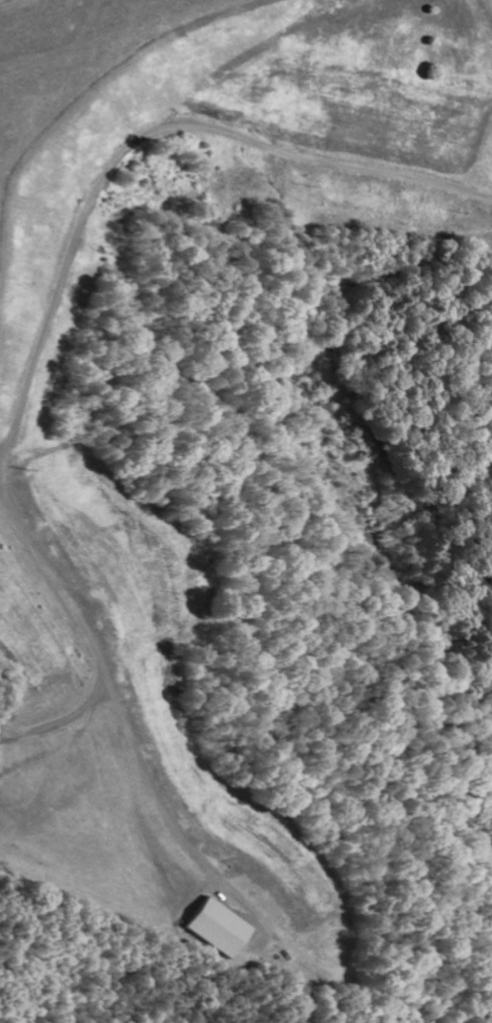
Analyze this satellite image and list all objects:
airport runway: (73, 21)
road: (34, 374)
road: (2, 473)
road: (61, 720)
building: (219, 930)

